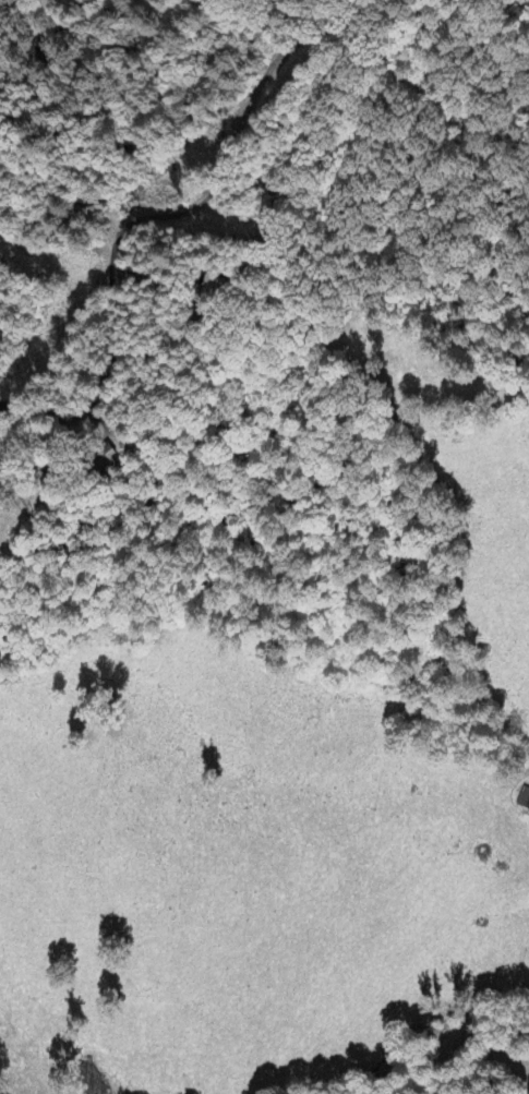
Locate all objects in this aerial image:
road: (168, 240)
building: (525, 798)

